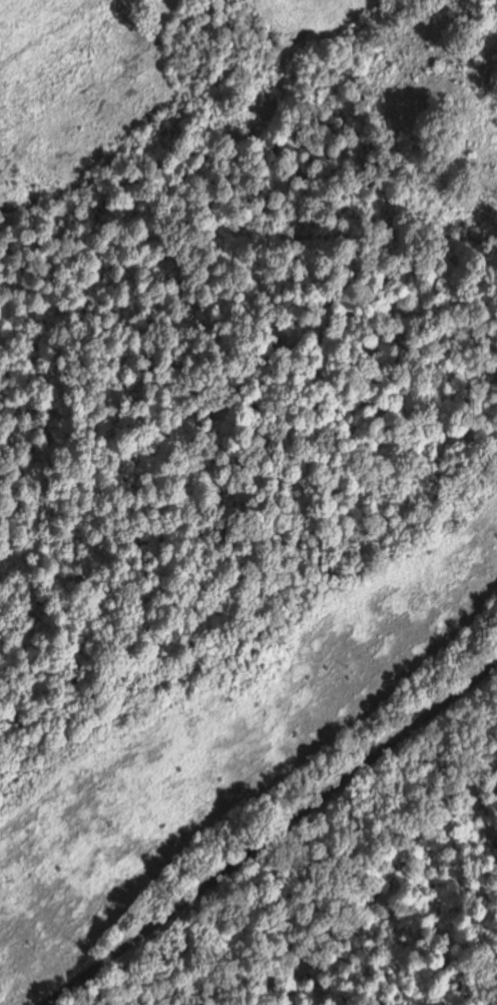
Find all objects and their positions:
road: (266, 831)

